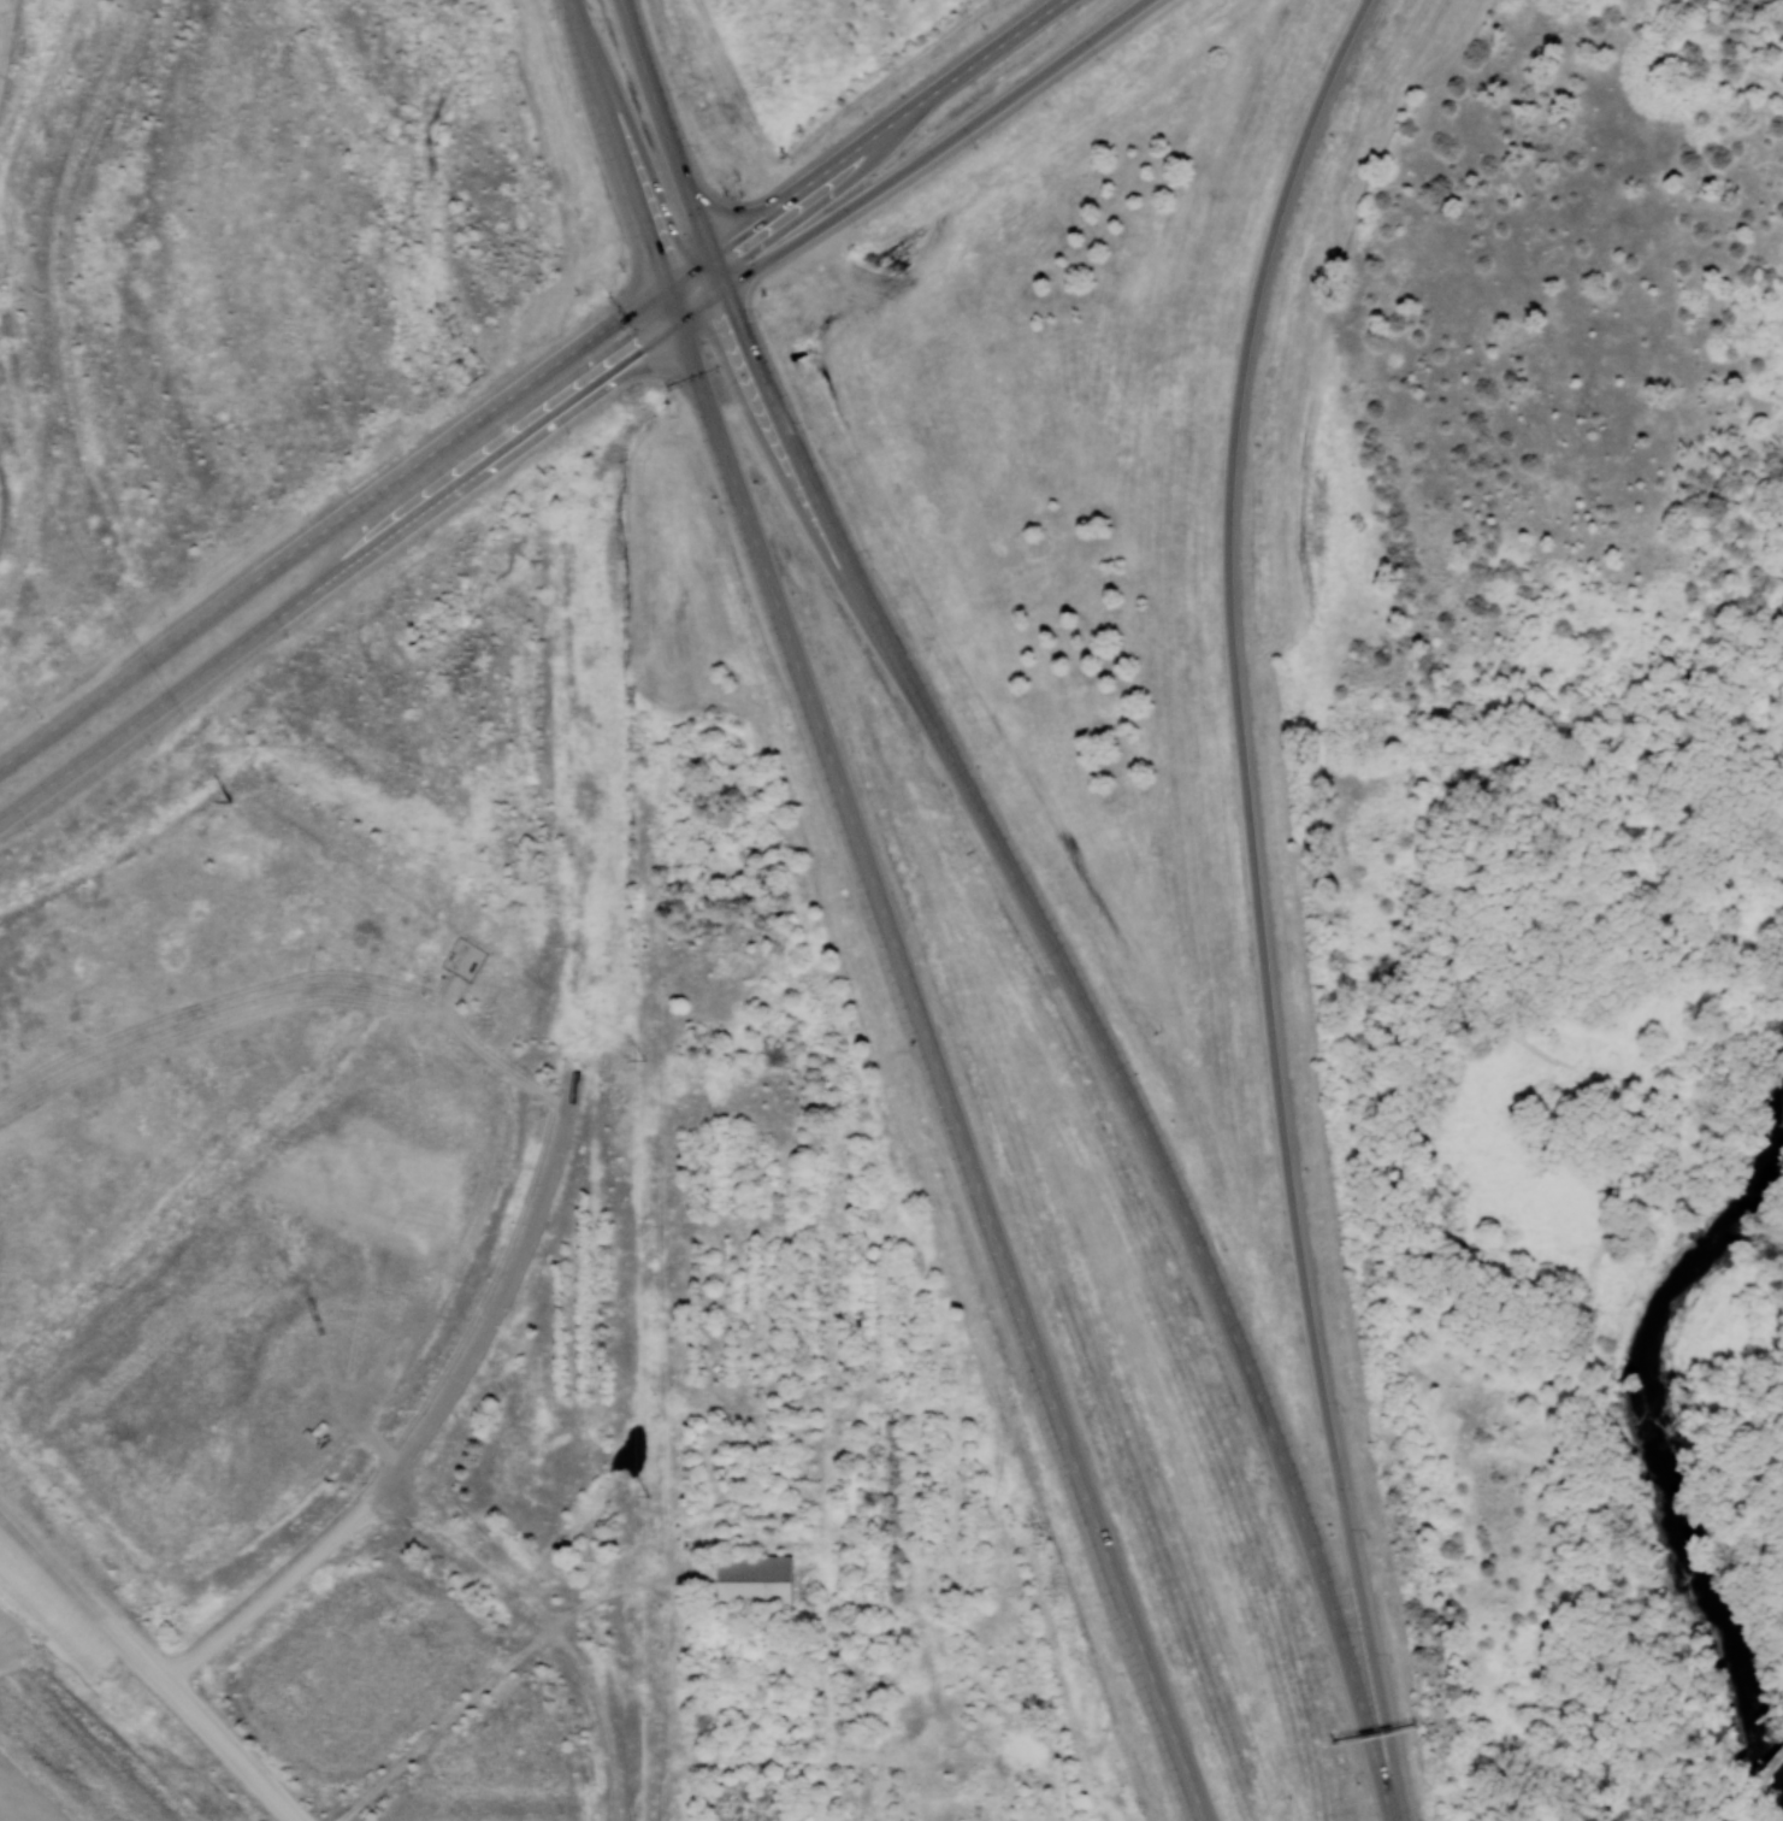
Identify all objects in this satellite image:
road: (615, 140)
road: (862, 141)
road: (913, 164)
traffic signals: (709, 251)
traffic signals: (665, 281)
traffic signals: (722, 288)
traffic signals: (679, 323)
road: (331, 521)
road: (340, 570)
road: (1233, 607)
power tower: (230, 800)
road: (1031, 901)
park: (1567, 955)
road: (1428, 1044)
road: (933, 1050)
power tower: (649, 1065)
road: (512, 1278)
river: (1645, 1414)
power tower: (648, 1496)
road: (1348, 1528)
road: (1588, 1540)
road: (51, 1564)
building: (756, 1578)
road: (281, 1586)
road: (557, 1616)
road: (495, 1675)
road: (1582, 1710)
road: (197, 1720)
track: (78, 1744)
river: (1778, 1782)

